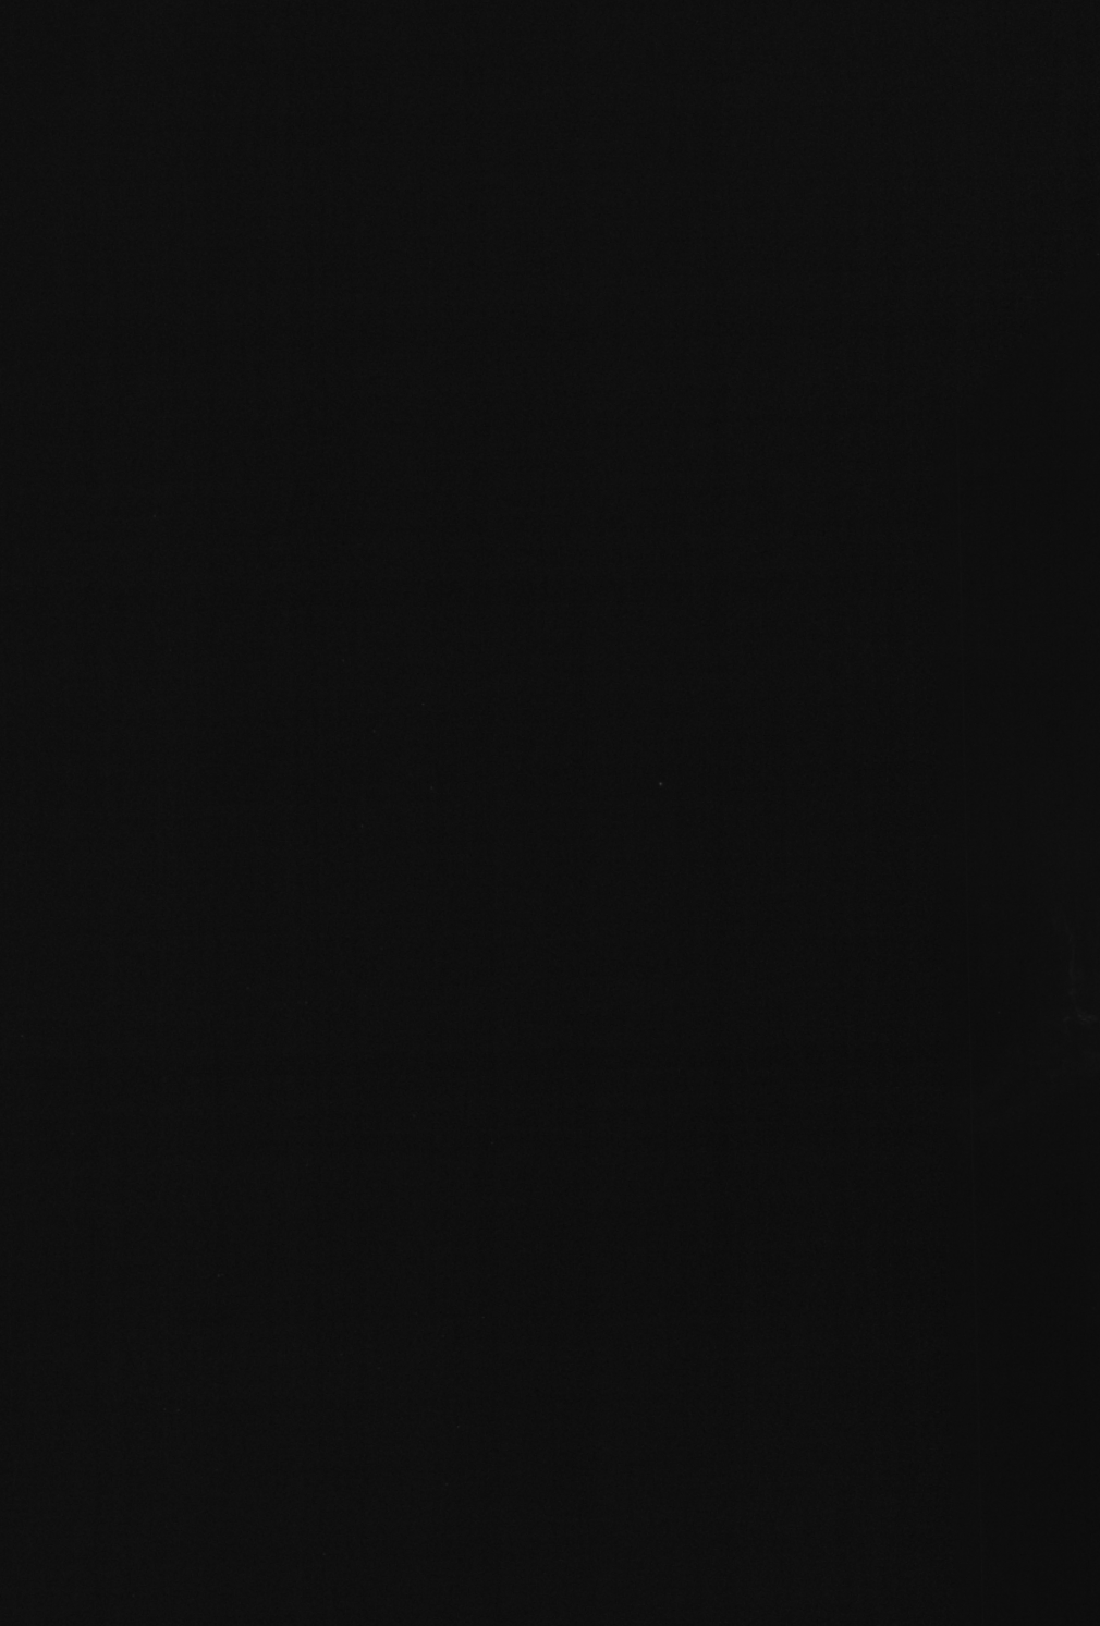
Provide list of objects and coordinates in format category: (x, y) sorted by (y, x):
river: (907, 164)
building: (87, 1294)

